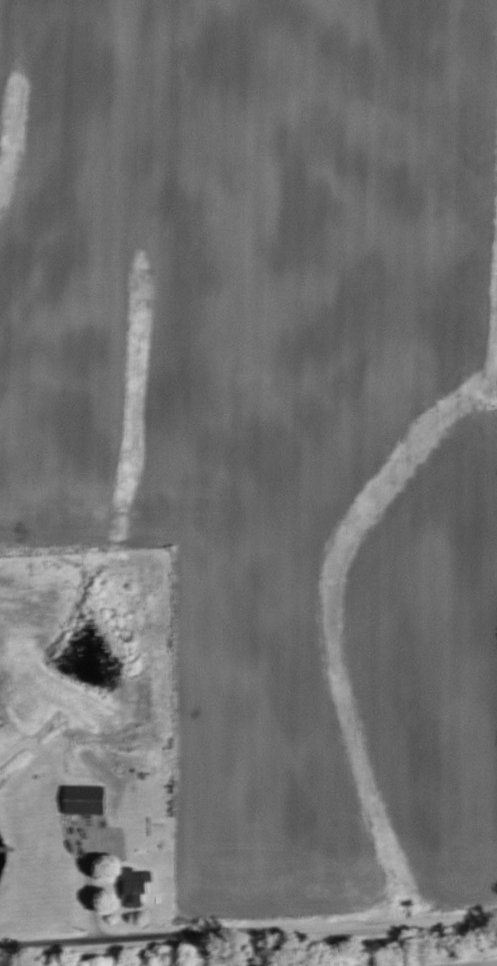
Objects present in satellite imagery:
building: (90, 798)
road: (92, 875)
building: (129, 883)
road: (248, 929)

